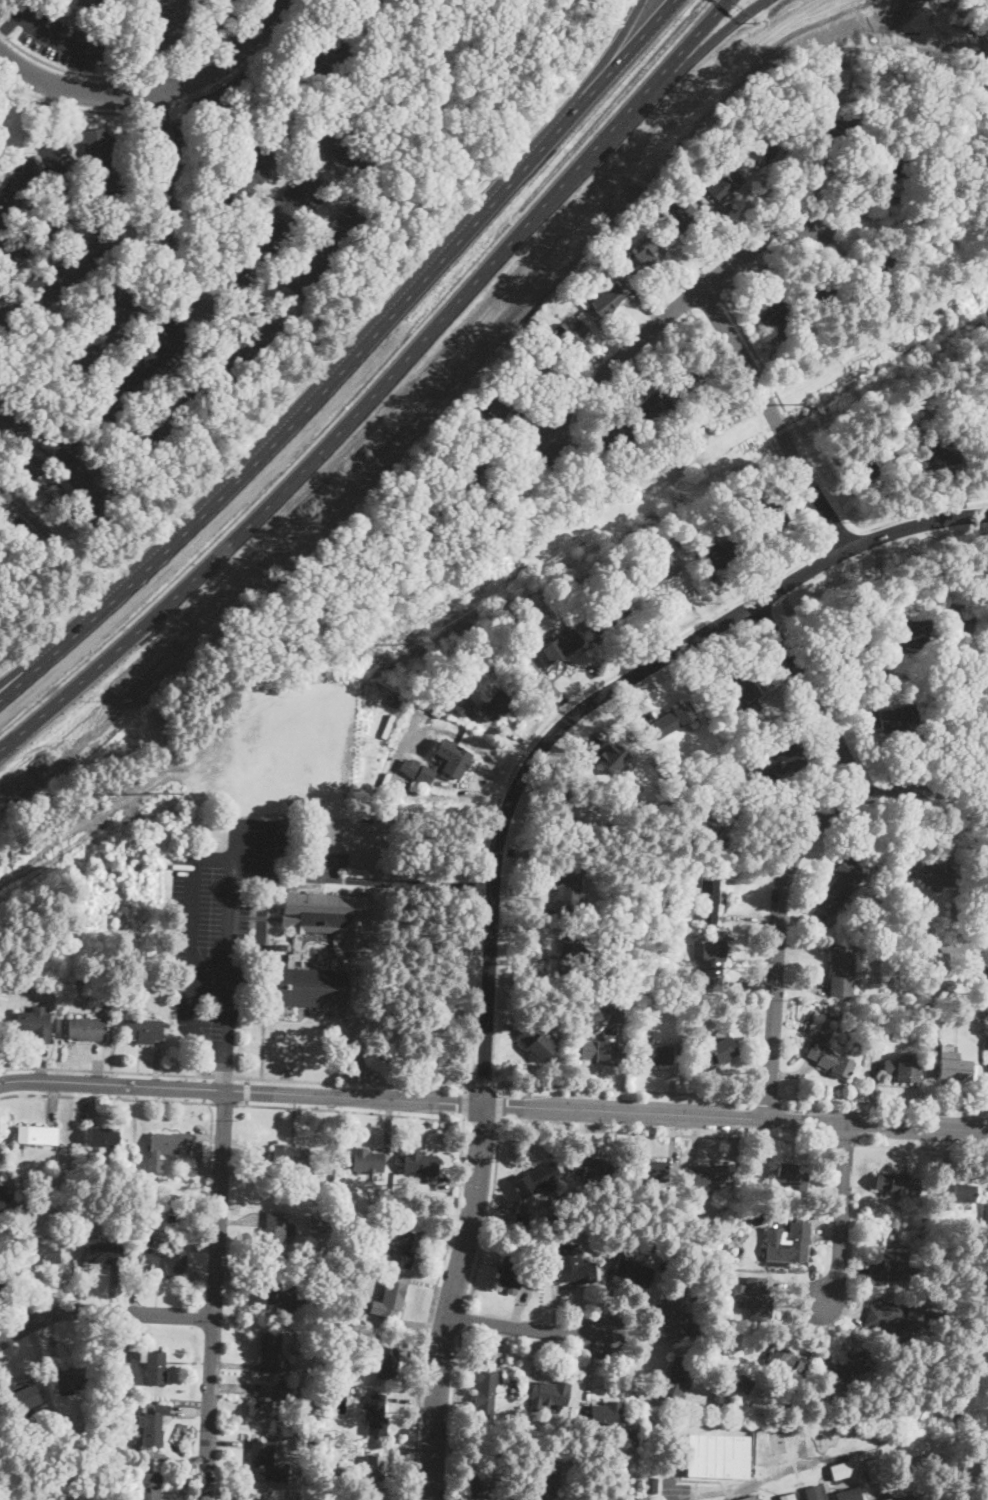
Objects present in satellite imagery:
building: (86, 2)
building: (163, 23)
road: (9, 26)
parking lot: (62, 37)
road: (709, 41)
road: (61, 43)
building: (332, 54)
building: (835, 54)
road: (244, 62)
road: (598, 62)
road: (245, 67)
road: (110, 74)
building: (837, 76)
road: (136, 77)
road: (229, 91)
road: (197, 92)
road: (152, 96)
building: (34, 101)
road: (71, 107)
road: (159, 109)
road: (44, 116)
building: (837, 129)
building: (337, 147)
building: (763, 151)
building: (101, 164)
building: (896, 166)
building: (676, 168)
road: (52, 176)
building: (242, 180)
building: (726, 184)
parking lot: (56, 205)
road: (167, 206)
building: (679, 212)
parking lot: (267, 231)
building: (324, 252)
building: (647, 252)
building: (76, 263)
building: (605, 265)
building: (878, 268)
building: (817, 291)
building: (0, 295)
road: (209, 300)
building: (607, 300)
building: (7, 312)
road: (670, 315)
building: (774, 315)
building: (532, 319)
building: (571, 334)
building: (97, 338)
building: (245, 342)
road: (348, 357)
building: (790, 357)
parking lot: (139, 370)
building: (533, 371)
building: (695, 376)
building: (867, 390)
road: (378, 391)
building: (976, 394)
power tower: (809, 399)
building: (651, 406)
road: (784, 408)
building: (939, 409)
building: (172, 414)
building: (494, 415)
building: (13, 416)
road: (774, 421)
building: (613, 435)
building: (983, 437)
building: (3, 440)
road: (804, 447)
building: (941, 455)
building: (872, 465)
building: (33, 468)
building: (471, 470)
building: (75, 472)
building: (734, 477)
building: (54, 493)
road: (850, 501)
building: (418, 505)
road: (23, 509)
road: (530, 509)
road: (922, 511)
building: (770, 514)
building: (76, 516)
building: (41, 526)
road: (840, 536)
building: (418, 538)
building: (661, 542)
building: (719, 553)
building: (603, 563)
park: (16, 567)
building: (660, 570)
building: (606, 615)
building: (964, 624)
building: (908, 632)
power tower: (427, 638)
building: (559, 648)
building: (518, 658)
building: (850, 661)
building: (495, 663)
building: (882, 679)
building: (744, 692)
building: (445, 699)
road: (814, 699)
building: (462, 704)
building: (496, 706)
building: (894, 718)
building: (672, 721)
building: (444, 725)
road: (531, 741)
building: (423, 745)
building: (610, 754)
building: (732, 757)
building: (456, 763)
building: (779, 764)
building: (421, 770)
power tower: (175, 788)
building: (391, 816)
building: (585, 817)
building: (719, 819)
road: (275, 847)
road: (496, 865)
building: (930, 872)
road: (309, 876)
road: (786, 878)
road: (413, 883)
building: (841, 884)
building: (568, 893)
building: (708, 896)
building: (672, 908)
building: (326, 915)
parking lot: (230, 918)
road: (226, 943)
building: (623, 943)
building: (280, 946)
road: (192, 949)
building: (964, 949)
building: (294, 951)
building: (339, 951)
building: (938, 955)
building: (984, 959)
building: (571, 960)
building: (712, 964)
building: (841, 969)
building: (621, 970)
building: (47, 976)
building: (78, 977)
building: (933, 978)
building: (18, 980)
road: (266, 981)
building: (987, 985)
building: (312, 988)
park: (414, 991)
building: (974, 999)
building: (106, 1007)
building: (620, 1011)
building: (879, 1021)
building: (35, 1023)
building: (87, 1029)
building: (145, 1030)
building: (827, 1034)
building: (987, 1041)
building: (855, 1042)
building: (539, 1043)
building: (603, 1051)
building: (715, 1052)
building: (654, 1054)
building: (830, 1059)
building: (987, 1063)
building: (953, 1068)
building: (902, 1070)
road: (227, 1078)
road: (237, 1079)
road: (206, 1080)
road: (248, 1082)
road: (112, 1083)
road: (483, 1083)
road: (465, 1089)
road: (205, 1090)
road: (501, 1090)
road: (626, 1091)
road: (247, 1092)
road: (106, 1096)
road: (769, 1098)
road: (247, 1103)
road: (225, 1104)
road: (883, 1104)
road: (500, 1107)
road: (464, 1108)
road: (606, 1110)
road: (350, 1113)
road: (480, 1125)
building: (38, 1135)
road: (210, 1135)
road: (666, 1135)
building: (103, 1137)
building: (169, 1142)
road: (845, 1144)
road: (921, 1148)
building: (291, 1156)
building: (368, 1160)
building: (422, 1164)
building: (599, 1170)
building: (646, 1171)
building: (709, 1174)
building: (793, 1177)
building: (535, 1181)
building: (900, 1189)
building: (188, 1191)
building: (962, 1192)
building: (6, 1194)
building: (324, 1195)
building: (756, 1196)
building: (186, 1214)
road: (489, 1214)
building: (986, 1214)
road: (843, 1215)
building: (171, 1217)
building: (522, 1218)
building: (318, 1223)
building: (276, 1233)
building: (537, 1242)
building: (346, 1243)
building: (788, 1243)
building: (723, 1248)
building: (400, 1249)
building: (43, 1253)
building: (106, 1253)
building: (366, 1255)
building: (322, 1257)
building: (157, 1258)
building: (896, 1263)
building: (514, 1271)
building: (634, 1271)
building: (576, 1273)
building: (324, 1275)
building: (536, 1280)
building: (277, 1293)
road: (215, 1295)
building: (758, 1299)
building: (389, 1300)
road: (431, 1310)
road: (103, 1311)
building: (895, 1315)
building: (671, 1317)
building: (936, 1319)
road: (463, 1320)
building: (724, 1324)
road: (521, 1328)
building: (332, 1332)
building: (697, 1332)
building: (271, 1352)
building: (723, 1358)
building: (784, 1360)
building: (387, 1364)
building: (852, 1365)
building: (154, 1366)
building: (676, 1377)
building: (71, 1379)
building: (744, 1384)
building: (485, 1388)
building: (330, 1393)
building: (553, 1393)
building: (318, 1394)
building: (717, 1398)
building: (269, 1399)
building: (27, 1404)
building: (606, 1412)
building: (376, 1415)
road: (453, 1415)
building: (153, 1423)
building: (545, 1427)
building: (629, 1434)
building: (328, 1437)
building: (311, 1445)
building: (717, 1455)
building: (262, 1458)
building: (328, 1463)
building: (372, 1468)
building: (874, 1468)
building: (842, 1473)
building: (543, 1482)
building: (482, 1483)
building: (650, 1483)
building: (151, 1486)
parking lot: (674, 1491)
building: (814, 1492)
building: (848, 1494)
building: (45, 1496)
building: (787, 1496)
building: (904, 1497)
building: (749, 1498)

